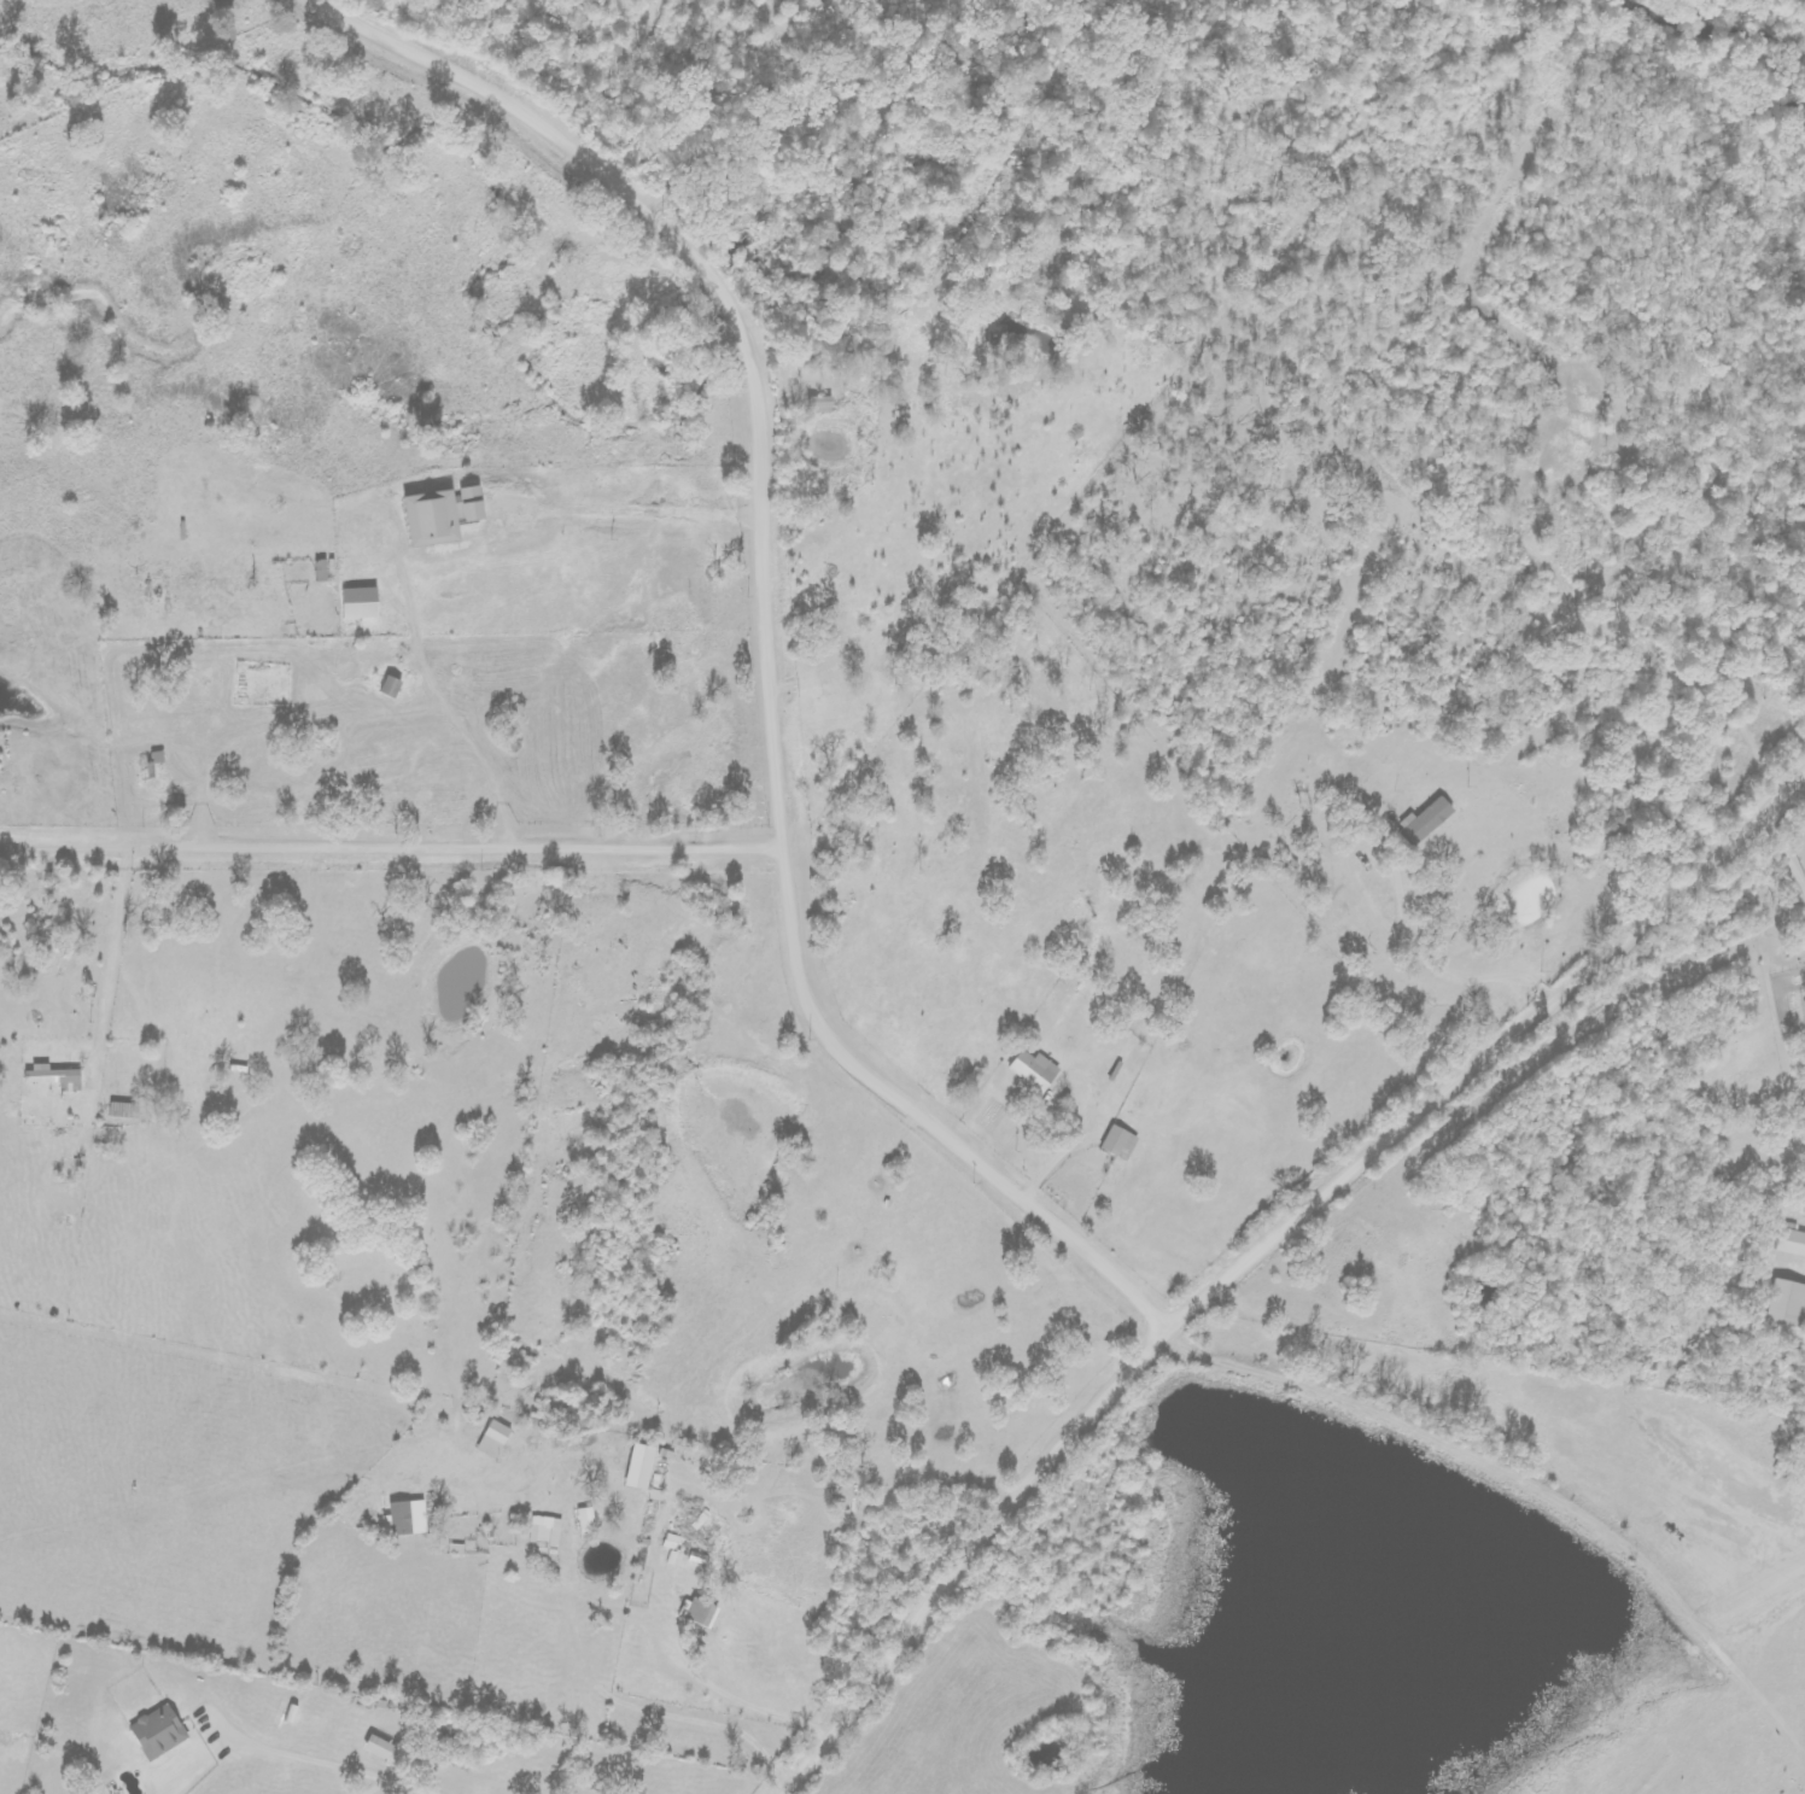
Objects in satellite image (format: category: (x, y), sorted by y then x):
building: (818, 405)
building: (358, 603)
road: (781, 645)
building: (1425, 820)
road: (399, 853)
building: (1033, 1070)
building: (52, 1077)
building: (1118, 1144)
building: (1791, 1244)
road: (1264, 1256)
building: (1786, 1305)
building: (492, 1441)
building: (407, 1519)
building: (585, 1524)
building: (544, 1531)
building: (455, 1549)
building: (700, 1614)
building: (156, 1732)
building: (376, 1747)

